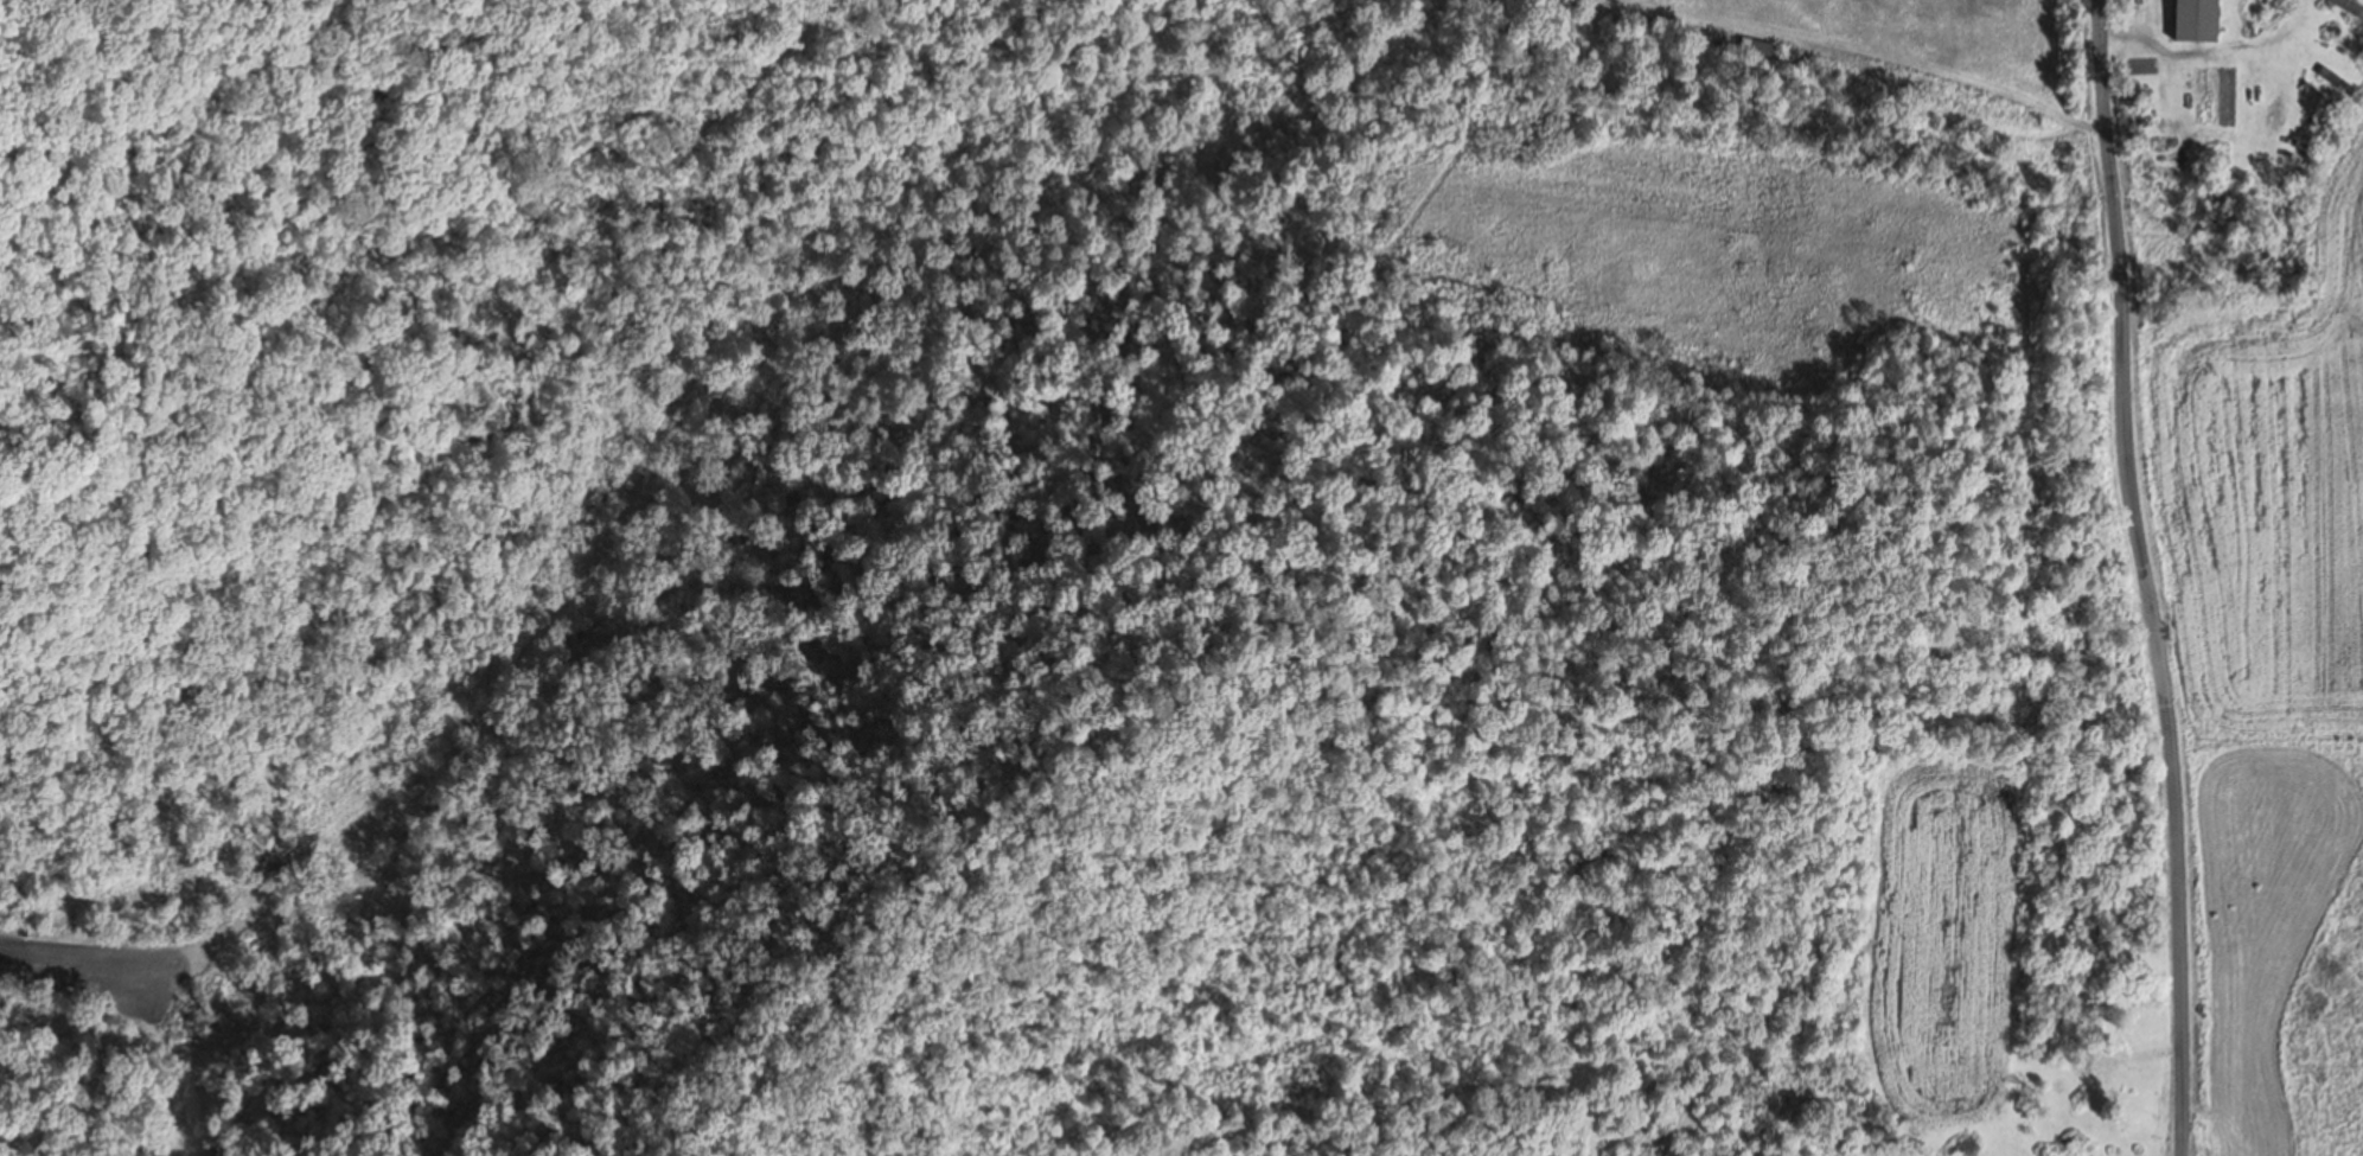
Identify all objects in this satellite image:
building: (2345, 9)
building: (2192, 21)
building: (1757, 49)
building: (2333, 81)
road: (2142, 577)

